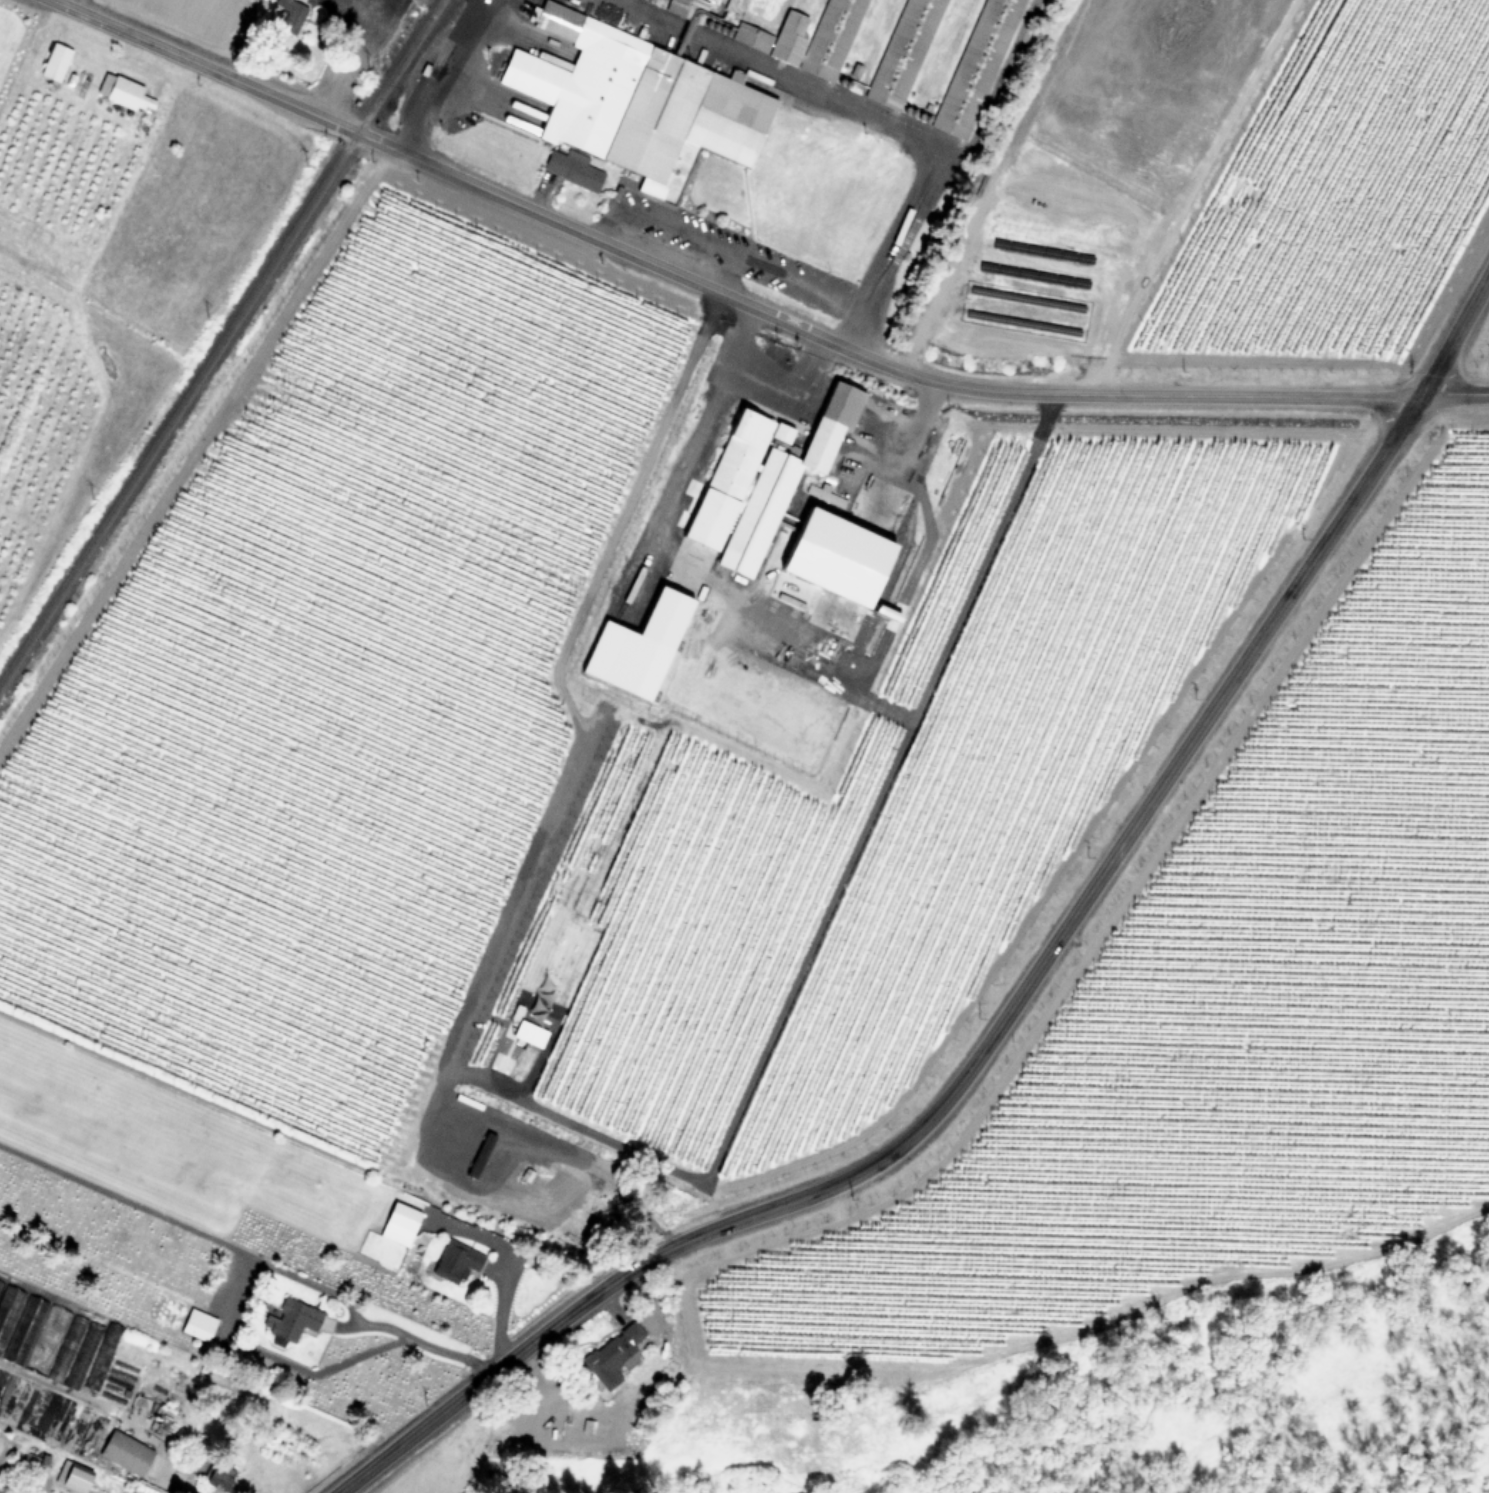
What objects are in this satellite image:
road: (487, 3)
building: (688, 6)
building: (290, 12)
crop: (282, 29)
railway: (428, 29)
road: (215, 32)
building: (794, 43)
building: (907, 53)
building: (5, 59)
road: (353, 60)
building: (54, 62)
building: (976, 67)
road: (444, 79)
building: (127, 94)
road: (1000, 96)
building: (637, 103)
road: (866, 117)
building: (572, 169)
crop: (1231, 183)
road: (675, 228)
crop: (106, 262)
road: (713, 289)
road: (1454, 335)
railway: (220, 342)
road: (1453, 394)
road: (910, 433)
road: (688, 449)
building: (772, 464)
building: (828, 545)
road: (979, 1052)
road: (496, 1117)
building: (481, 1142)
building: (460, 1205)
building: (398, 1223)
building: (458, 1259)
building: (290, 1322)
building: (198, 1325)
road: (418, 1338)
building: (53, 1339)
building: (610, 1355)
building: (124, 1453)
building: (73, 1475)
building: (218, 1476)

